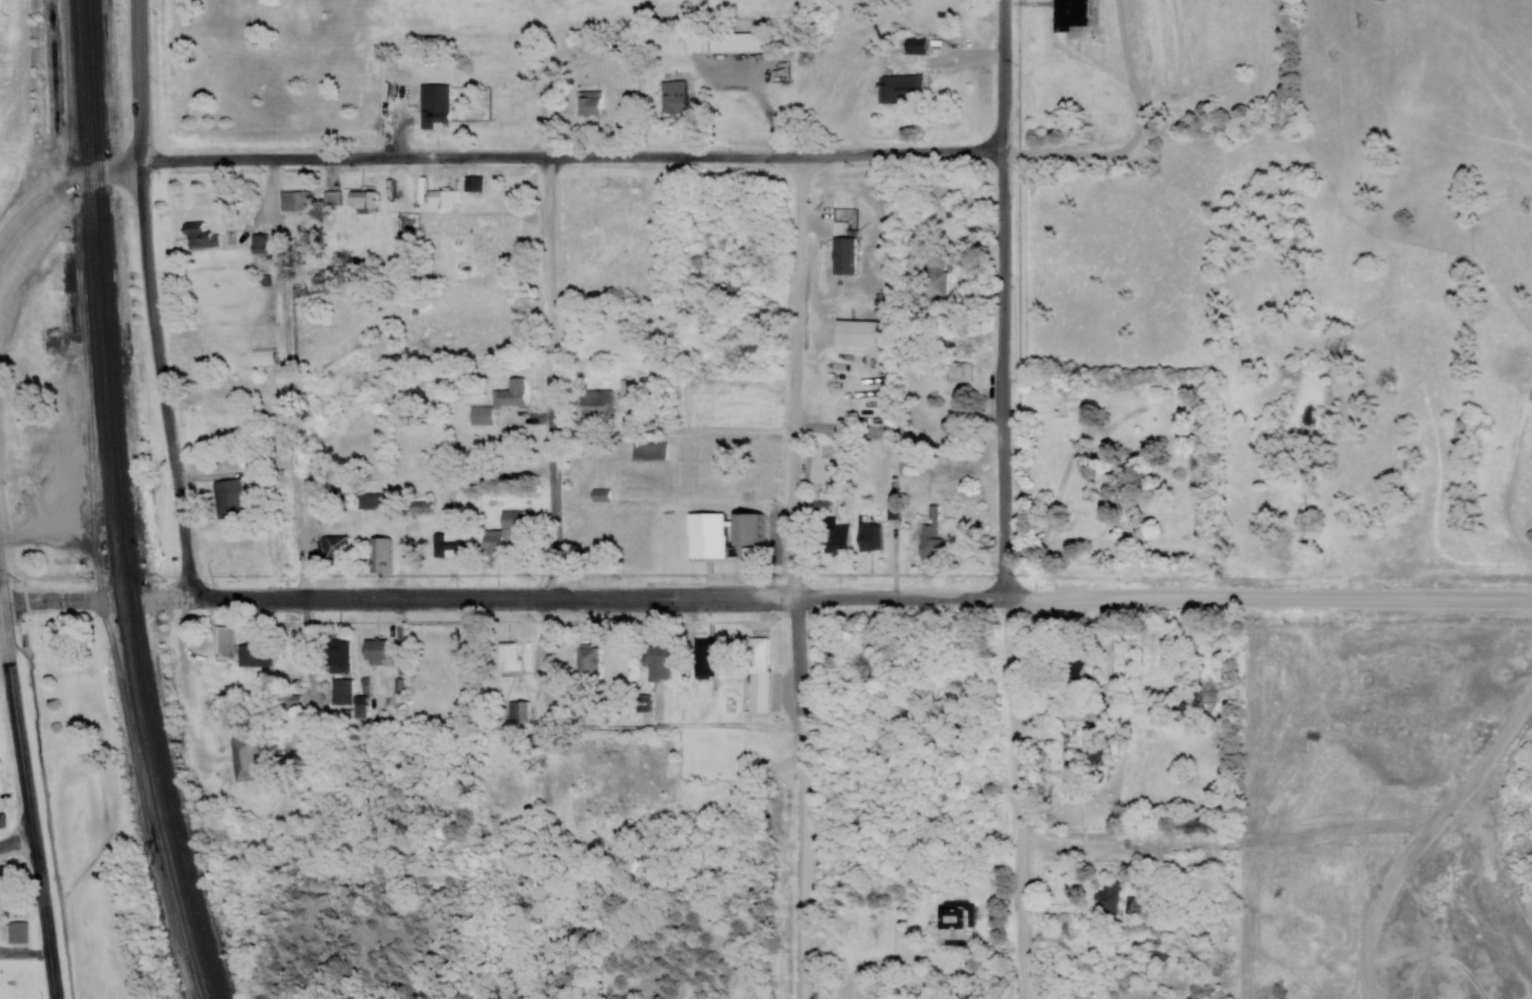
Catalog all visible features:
building: (1076, 14)
building: (725, 43)
building: (914, 45)
road: (1110, 70)
road: (139, 80)
building: (900, 88)
road: (760, 94)
building: (672, 98)
building: (589, 103)
building: (434, 105)
road: (1100, 153)
road: (572, 156)
road: (119, 167)
building: (619, 183)
building: (472, 184)
road: (57, 189)
building: (363, 200)
building: (294, 201)
building: (440, 201)
building: (484, 221)
building: (837, 228)
road: (11, 231)
building: (199, 237)
building: (257, 243)
building: (843, 255)
building: (934, 274)
building: (732, 292)
road: (1003, 300)
building: (262, 357)
building: (957, 372)
road: (797, 375)
road: (552, 376)
road: (162, 377)
building: (594, 402)
building: (500, 403)
building: (649, 450)
building: (227, 499)
building: (376, 500)
railway: (111, 503)
railway: (122, 504)
building: (421, 507)
building: (929, 535)
building: (706, 536)
building: (746, 536)
building: (868, 537)
building: (499, 538)
building: (836, 540)
building: (447, 546)
building: (335, 547)
building: (379, 555)
road: (1526, 597)
road: (600, 598)
road: (1265, 598)
building: (223, 641)
building: (374, 652)
building: (439, 656)
building: (756, 656)
building: (337, 657)
building: (508, 657)
building: (703, 658)
building: (587, 663)
building: (656, 663)
building: (1073, 673)
building: (339, 692)
building: (1190, 701)
building: (641, 704)
building: (358, 707)
building: (517, 710)
building: (1092, 753)
building: (245, 760)
road: (802, 797)
road: (1017, 799)
road: (29, 812)
building: (1, 821)
road: (17, 844)
building: (1, 873)
building: (1107, 898)
building: (1131, 906)
building: (953, 921)
building: (15, 933)
building: (1159, 954)

